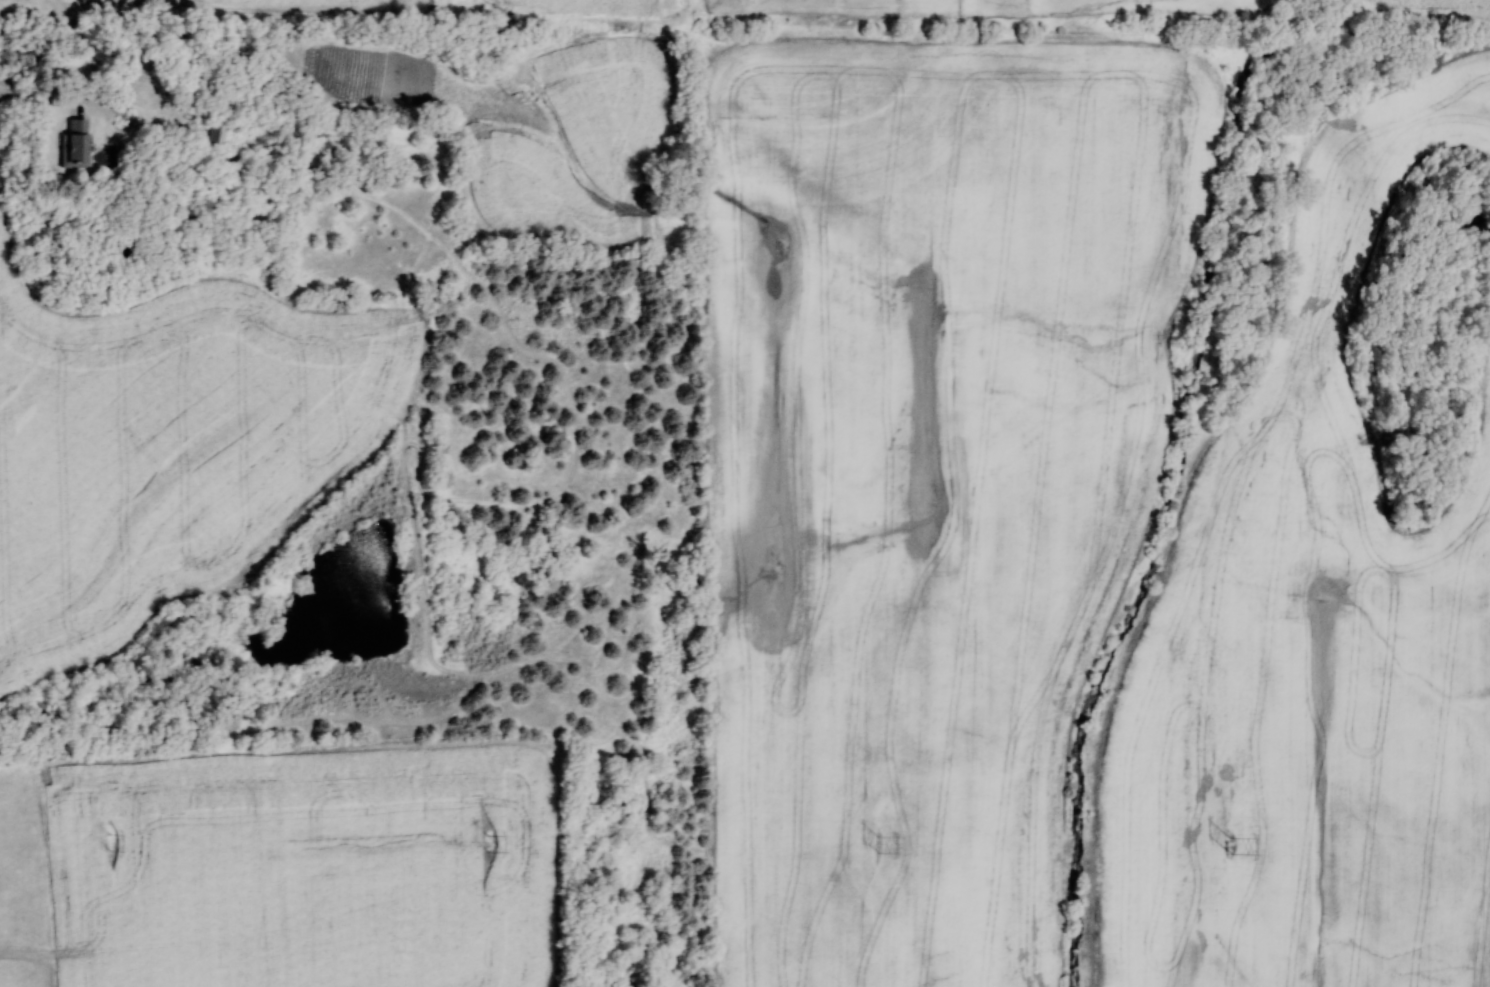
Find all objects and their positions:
building: (220, 131)
building: (73, 144)
power tower: (108, 843)
power tower: (493, 845)
power tower: (876, 845)
power tower: (1229, 846)

